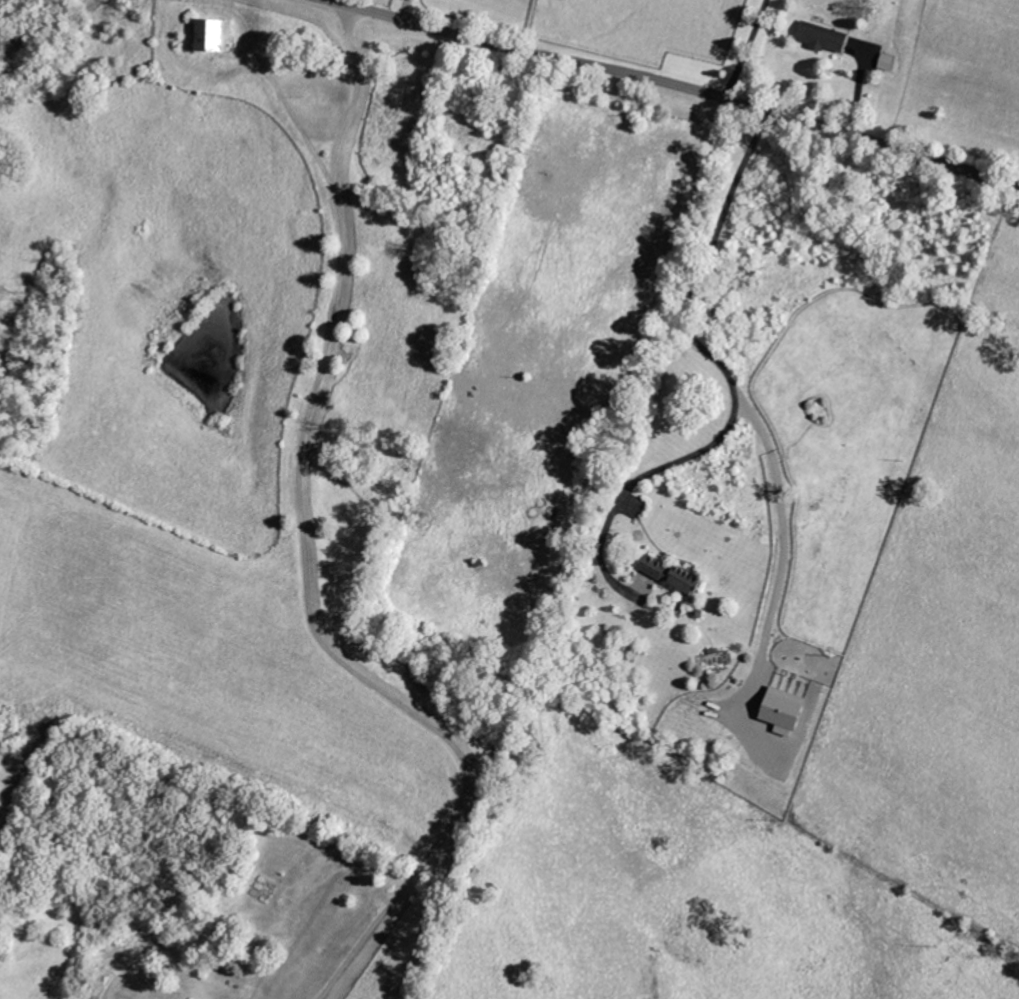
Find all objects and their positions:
road: (405, 10)
building: (217, 34)
building: (823, 36)
road: (743, 49)
road: (674, 85)
road: (304, 555)
building: (674, 574)
building: (785, 708)

